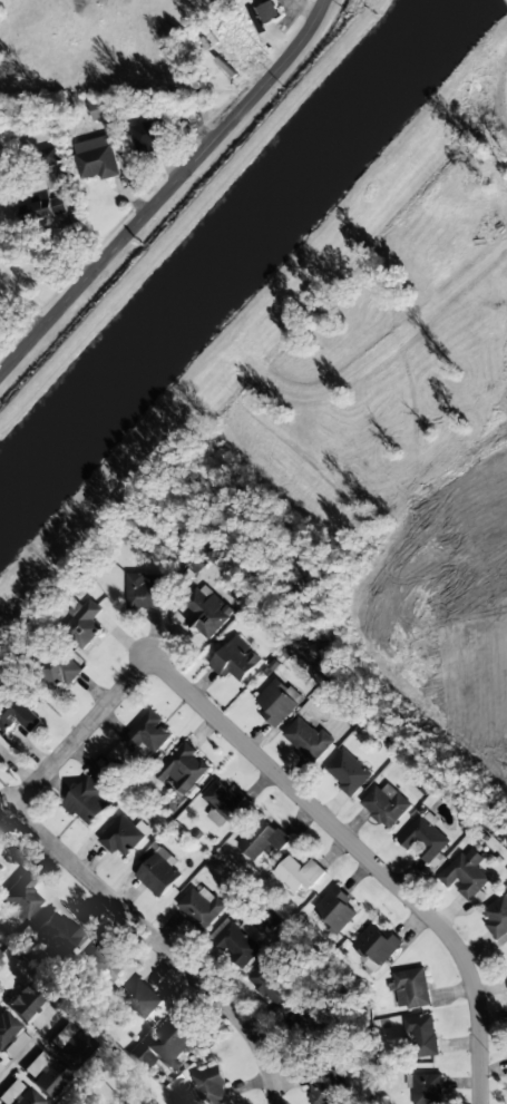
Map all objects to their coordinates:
building: (267, 11)
building: (101, 109)
building: (187, 113)
building: (148, 136)
building: (50, 156)
building: (95, 163)
road: (165, 190)
building: (43, 207)
building: (144, 590)
building: (206, 612)
building: (82, 625)
building: (234, 660)
building: (60, 670)
building: (276, 703)
building: (16, 713)
building: (146, 736)
building: (306, 737)
building: (182, 769)
building: (347, 772)
building: (86, 801)
building: (223, 803)
road: (22, 804)
building: (384, 804)
building: (121, 838)
building: (262, 838)
building: (423, 840)
road: (365, 856)
building: (298, 873)
building: (465, 873)
building: (157, 875)
building: (20, 896)
building: (199, 908)
building: (335, 909)
building: (497, 917)
building: (56, 934)
building: (235, 944)
building: (374, 945)
building: (0, 956)
building: (101, 965)
building: (506, 977)
building: (272, 983)
building: (411, 988)
building: (139, 999)
building: (25, 1003)
road: (232, 1012)
building: (309, 1025)
building: (6, 1027)
building: (61, 1035)
building: (421, 1035)
building: (173, 1041)
building: (74, 1048)
building: (140, 1056)
building: (1, 1066)
building: (45, 1074)
building: (323, 1085)
building: (209, 1086)
building: (425, 1088)
building: (18, 1095)
building: (133, 1103)

